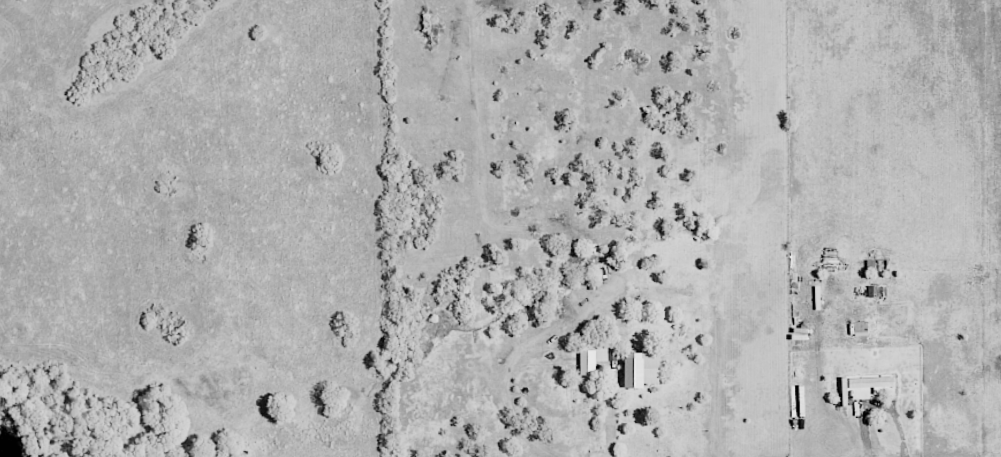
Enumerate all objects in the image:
building: (875, 291)
building: (860, 328)
building: (591, 359)
building: (640, 369)
road: (800, 369)
building: (868, 385)
road: (609, 421)

